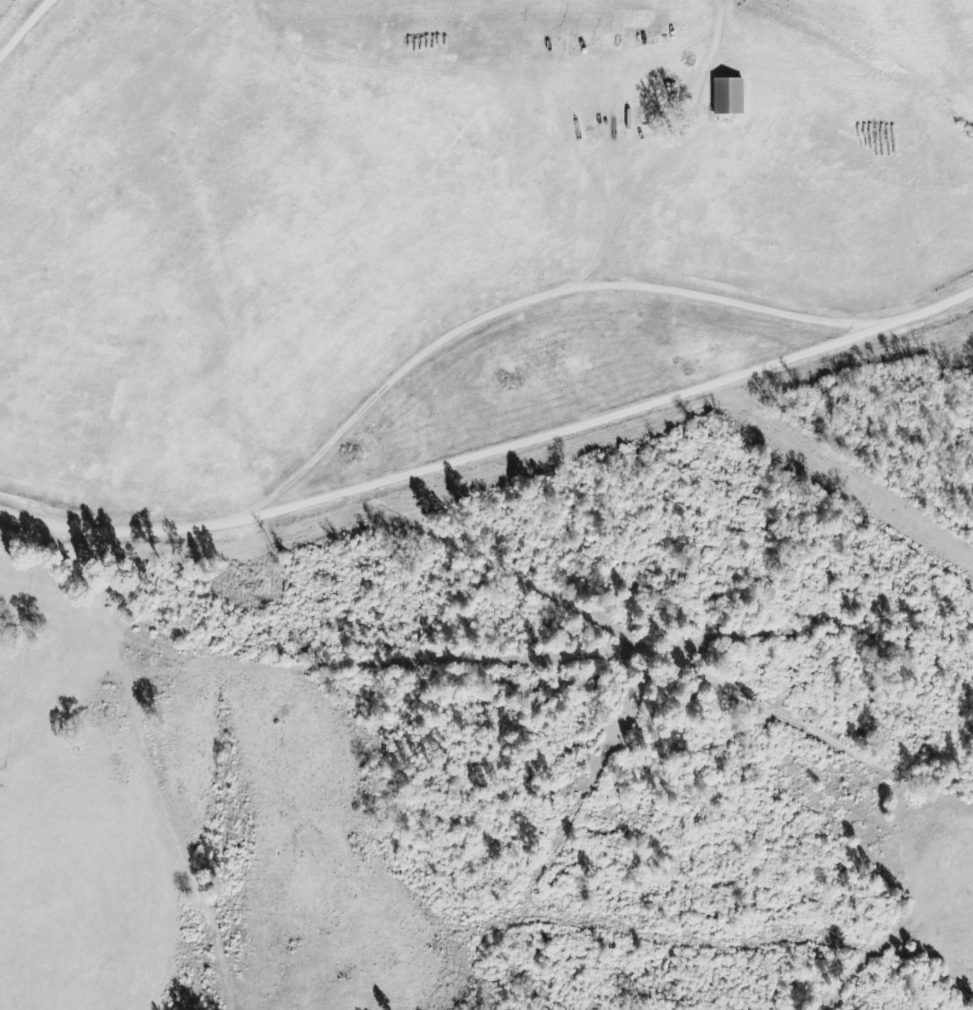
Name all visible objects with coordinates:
road: (33, 49)
building: (728, 97)
road: (456, 335)
road: (486, 573)

